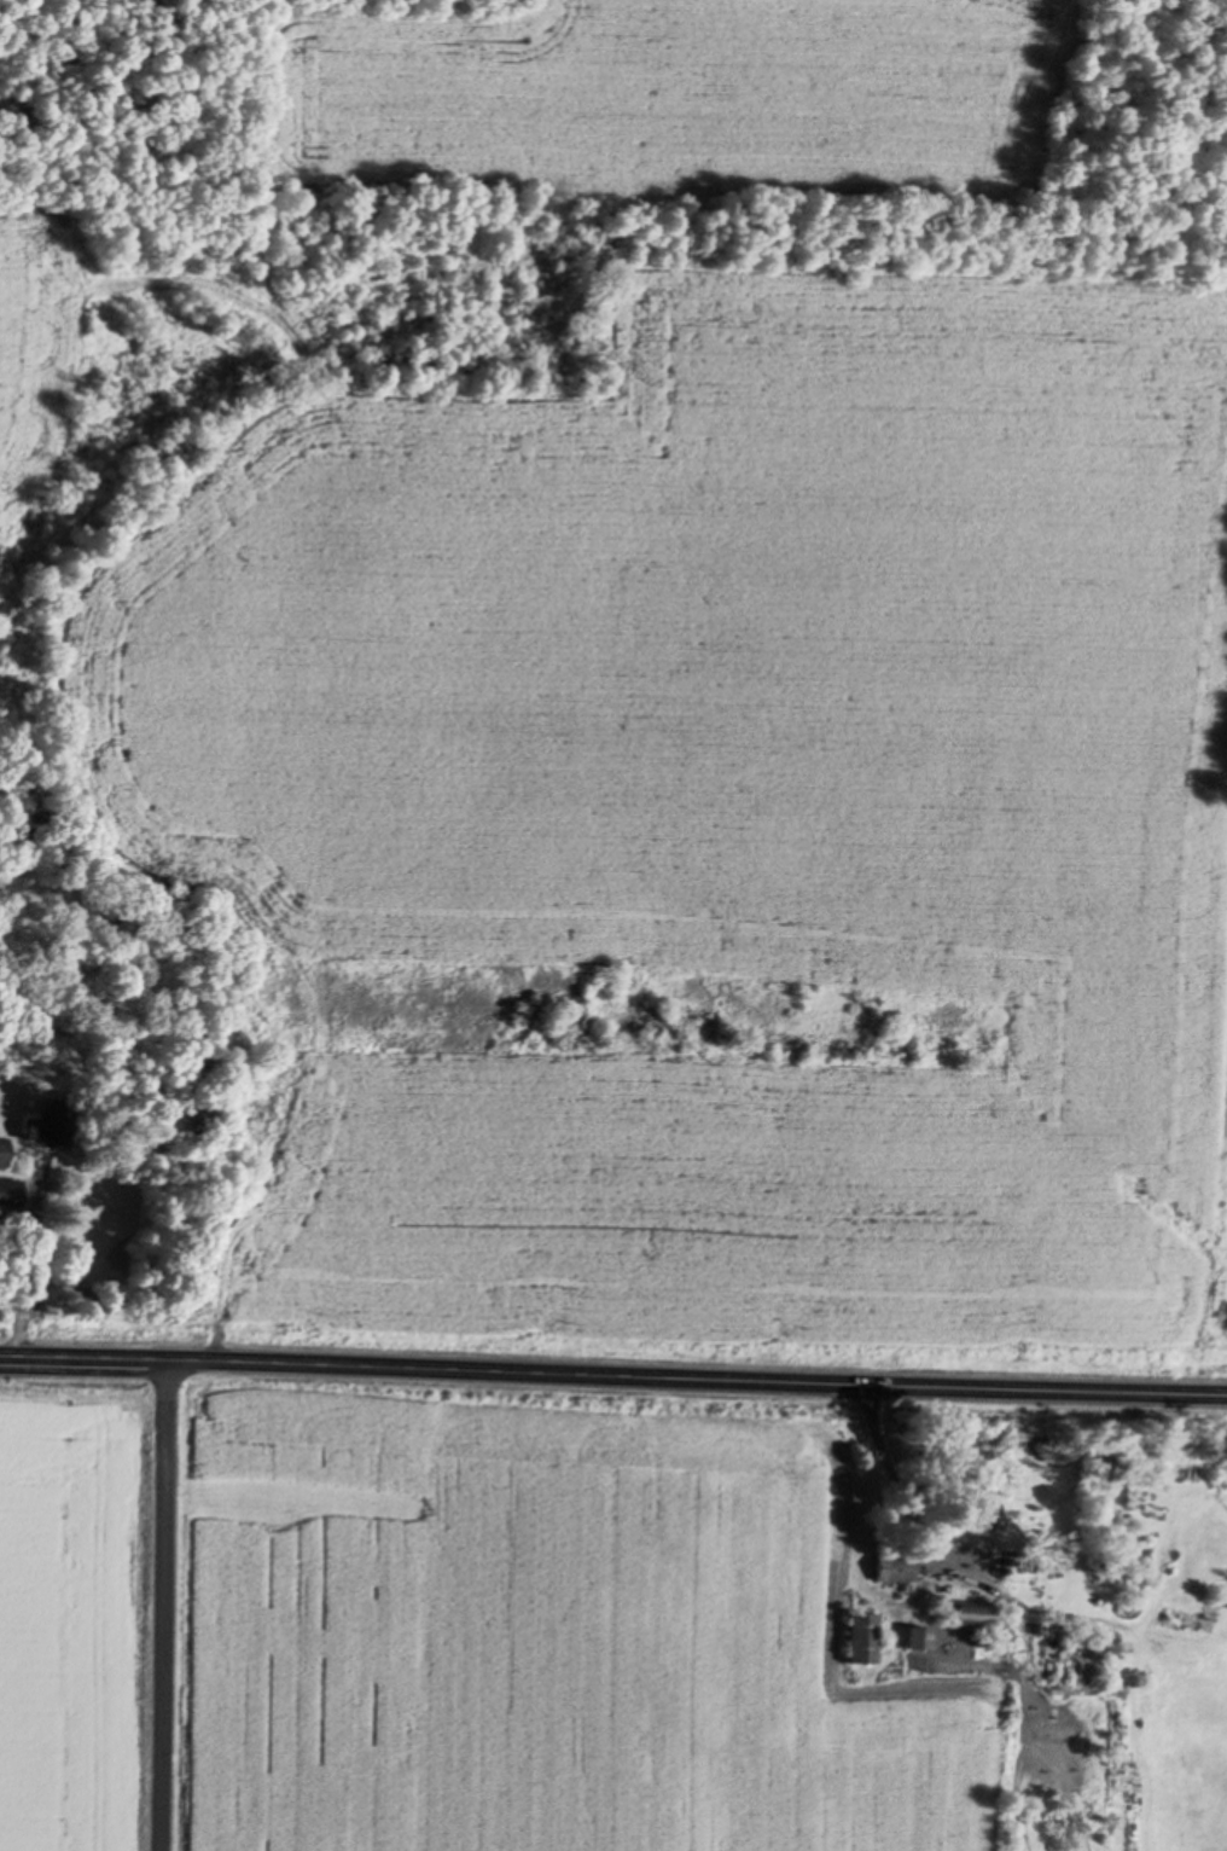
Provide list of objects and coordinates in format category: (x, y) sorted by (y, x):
building: (53, 1126)
building: (4, 1154)
building: (11, 1194)
road: (613, 1389)
building: (897, 1568)
road: (156, 1613)
building: (971, 1613)
building: (923, 1638)
building: (866, 1640)

